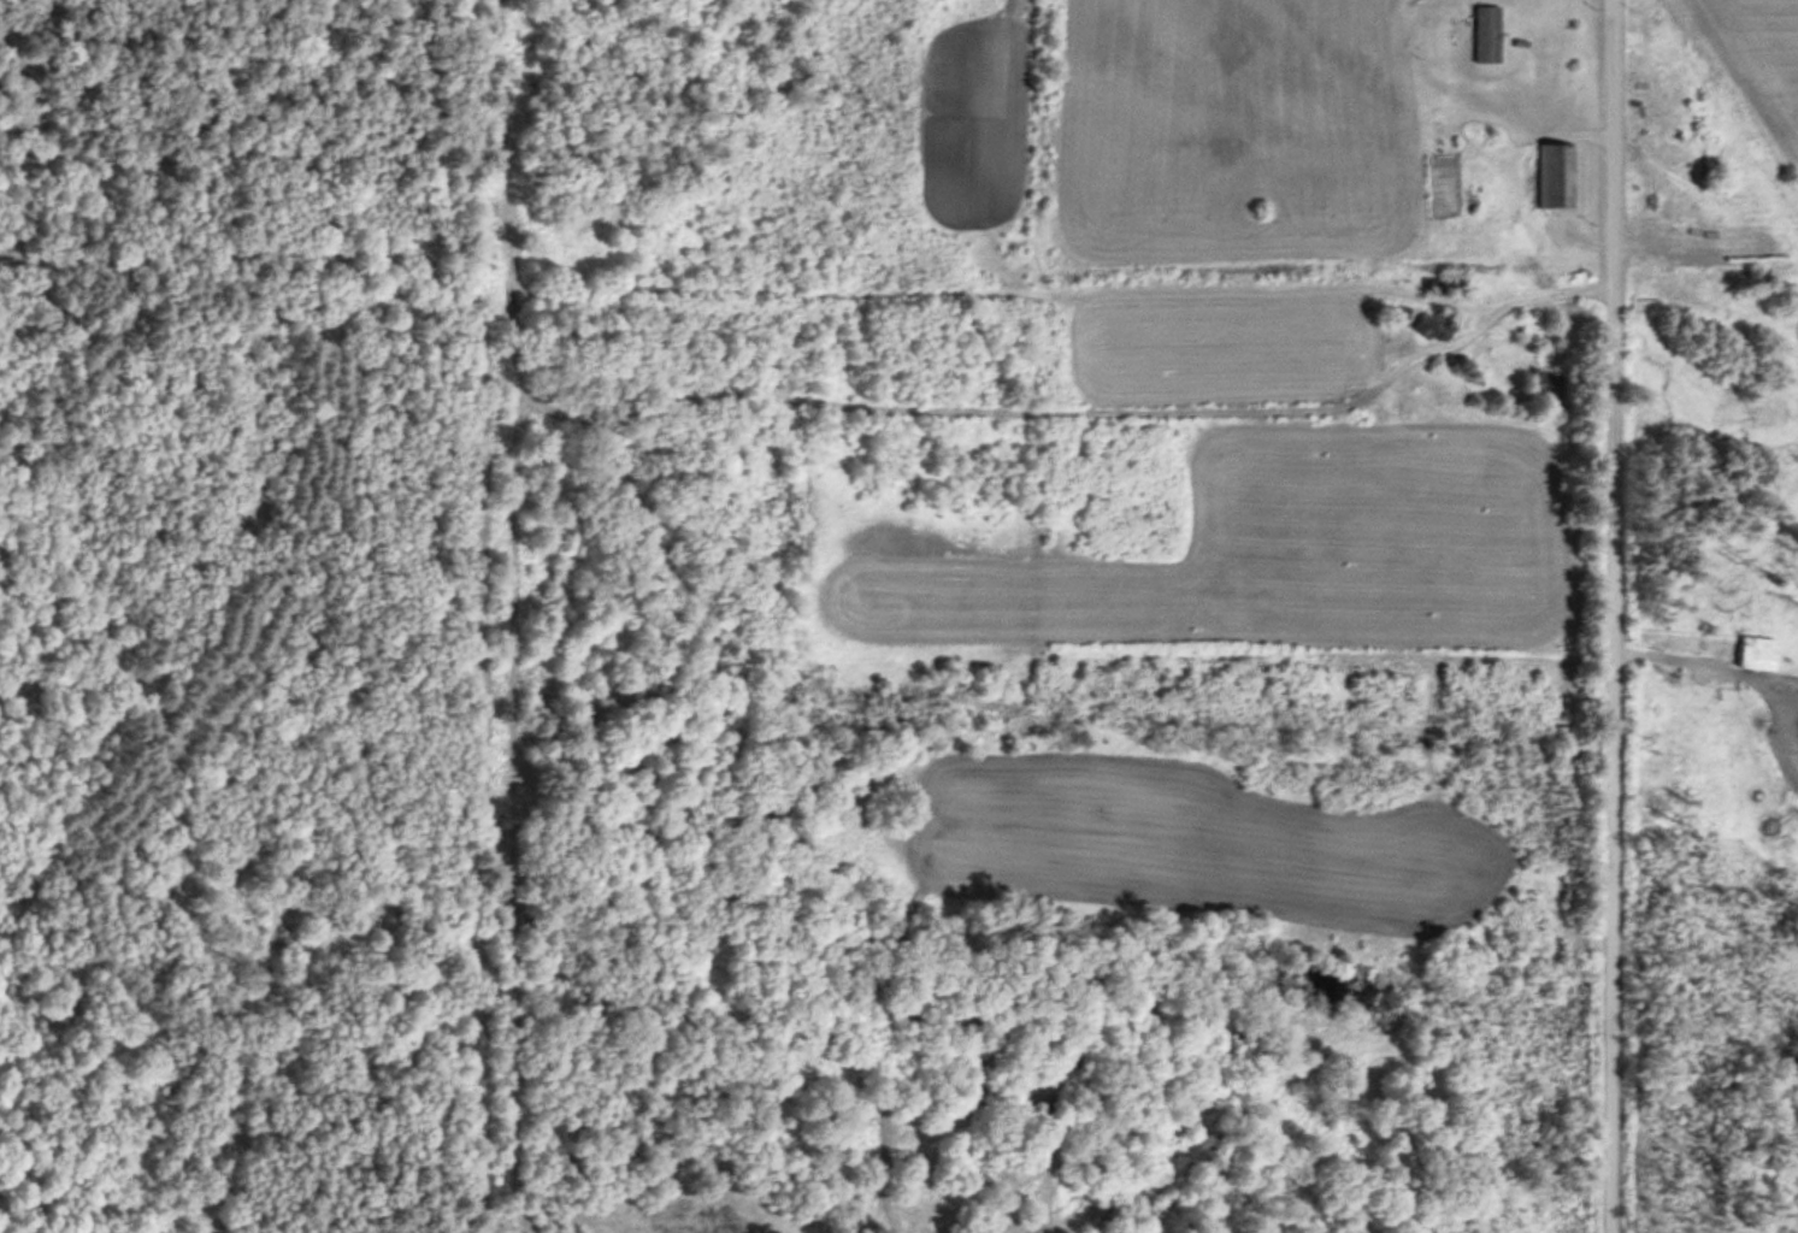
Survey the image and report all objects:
building: (1482, 31)
building: (1554, 173)
building: (1540, 382)
road: (1580, 616)
building: (1752, 651)

